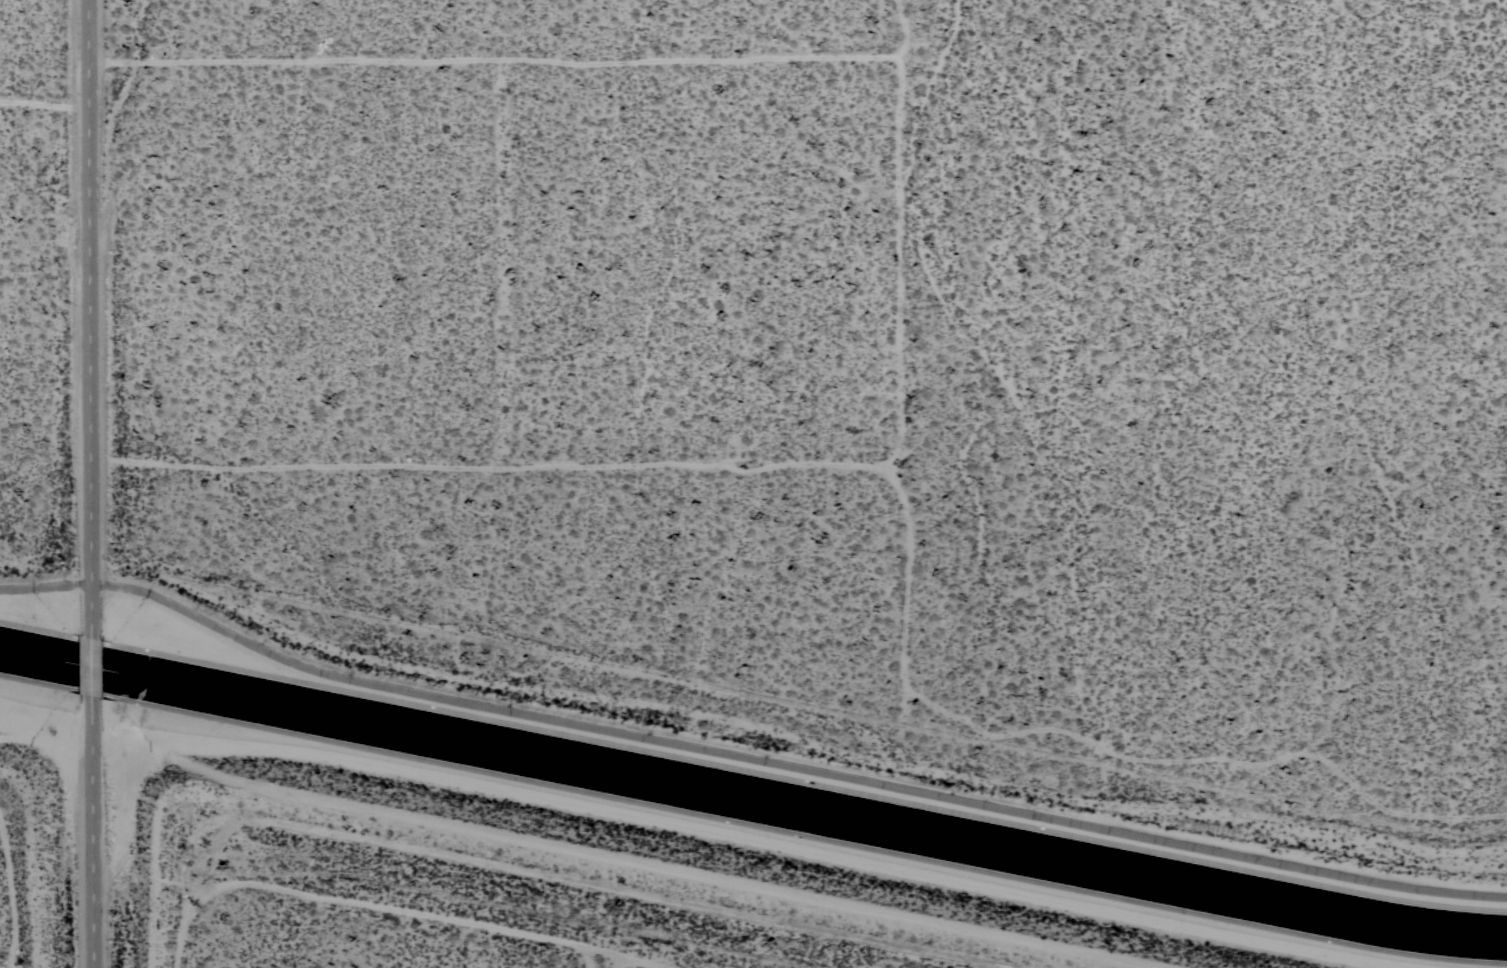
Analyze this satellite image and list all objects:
road: (90, 318)
road: (92, 666)
road: (91, 832)
road: (413, 914)
road: (598, 955)

